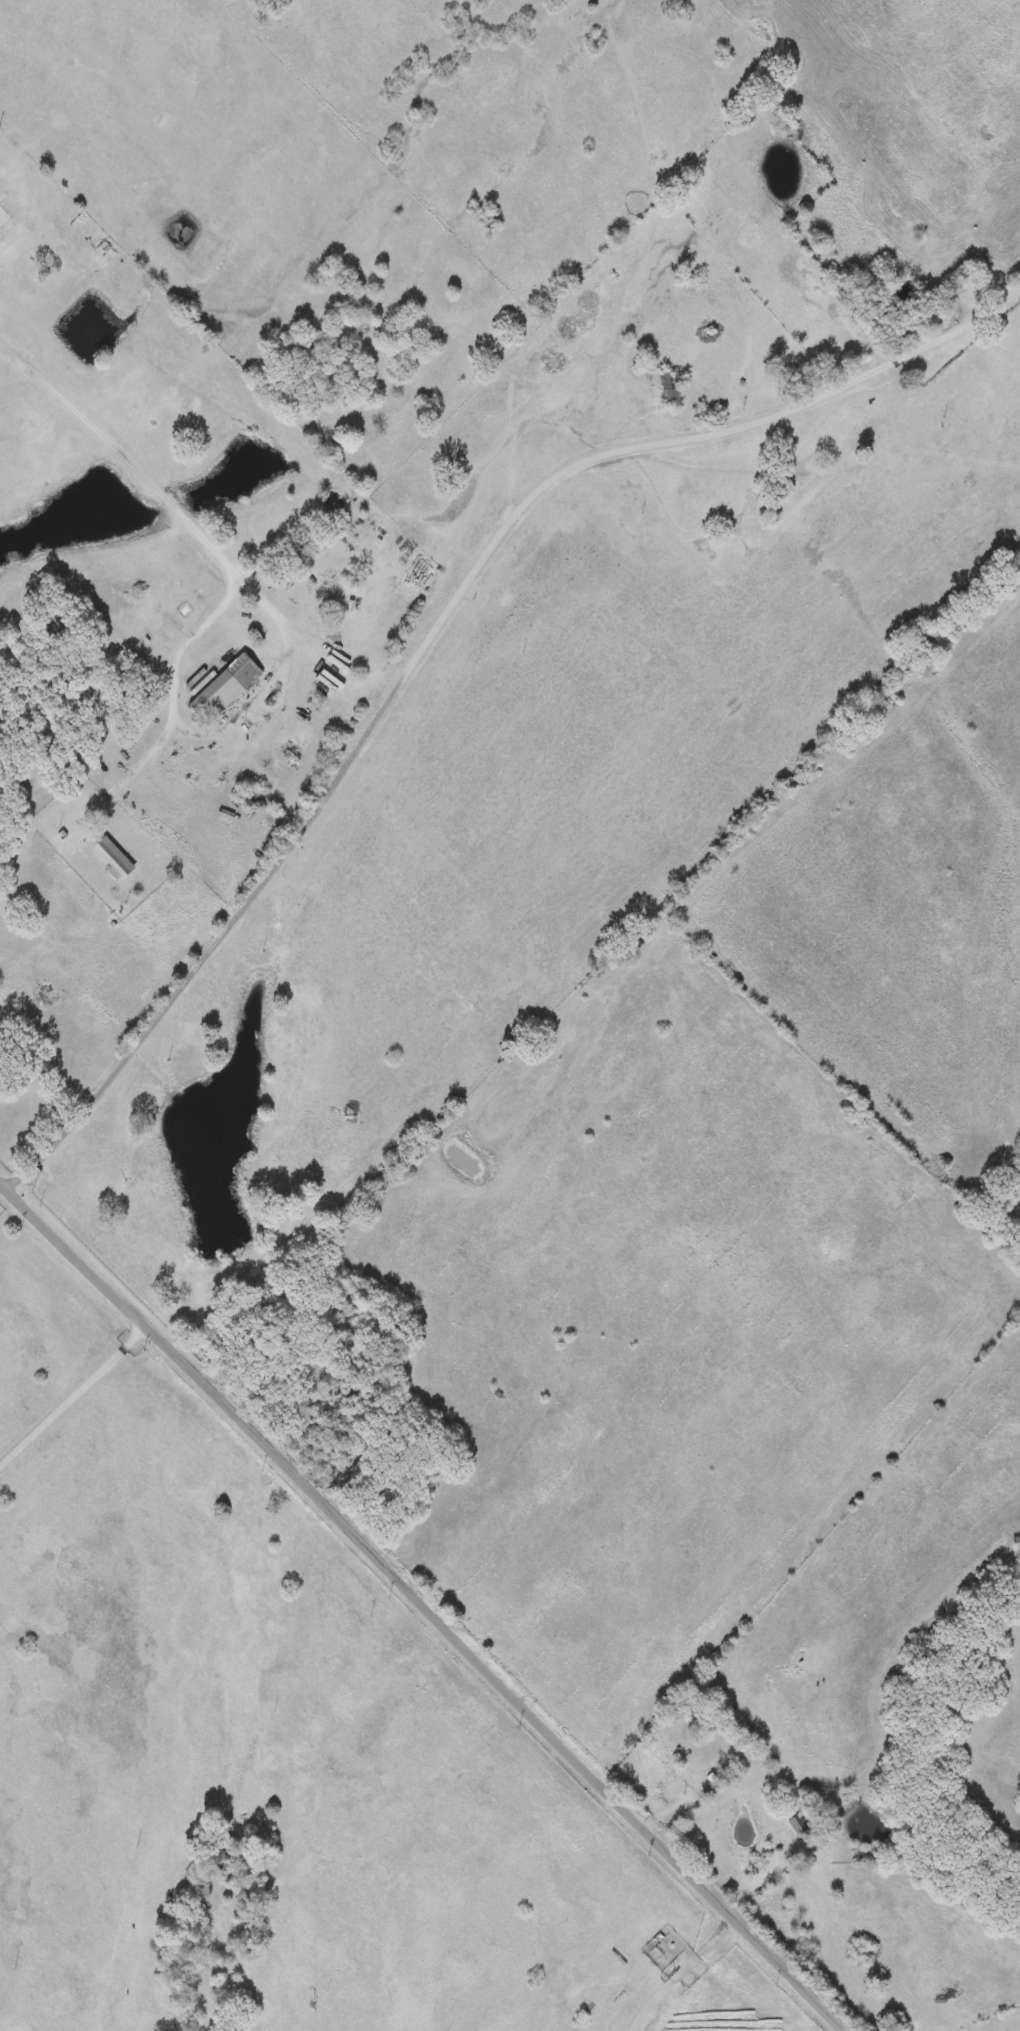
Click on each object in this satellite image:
building: (672, 391)
road: (153, 487)
road: (444, 615)
road: (182, 645)
building: (227, 686)
road: (259, 689)
road: (152, 748)
building: (115, 858)
building: (197, 892)
road: (20, 1178)
road: (74, 1400)
road: (423, 1606)
road: (690, 1794)

